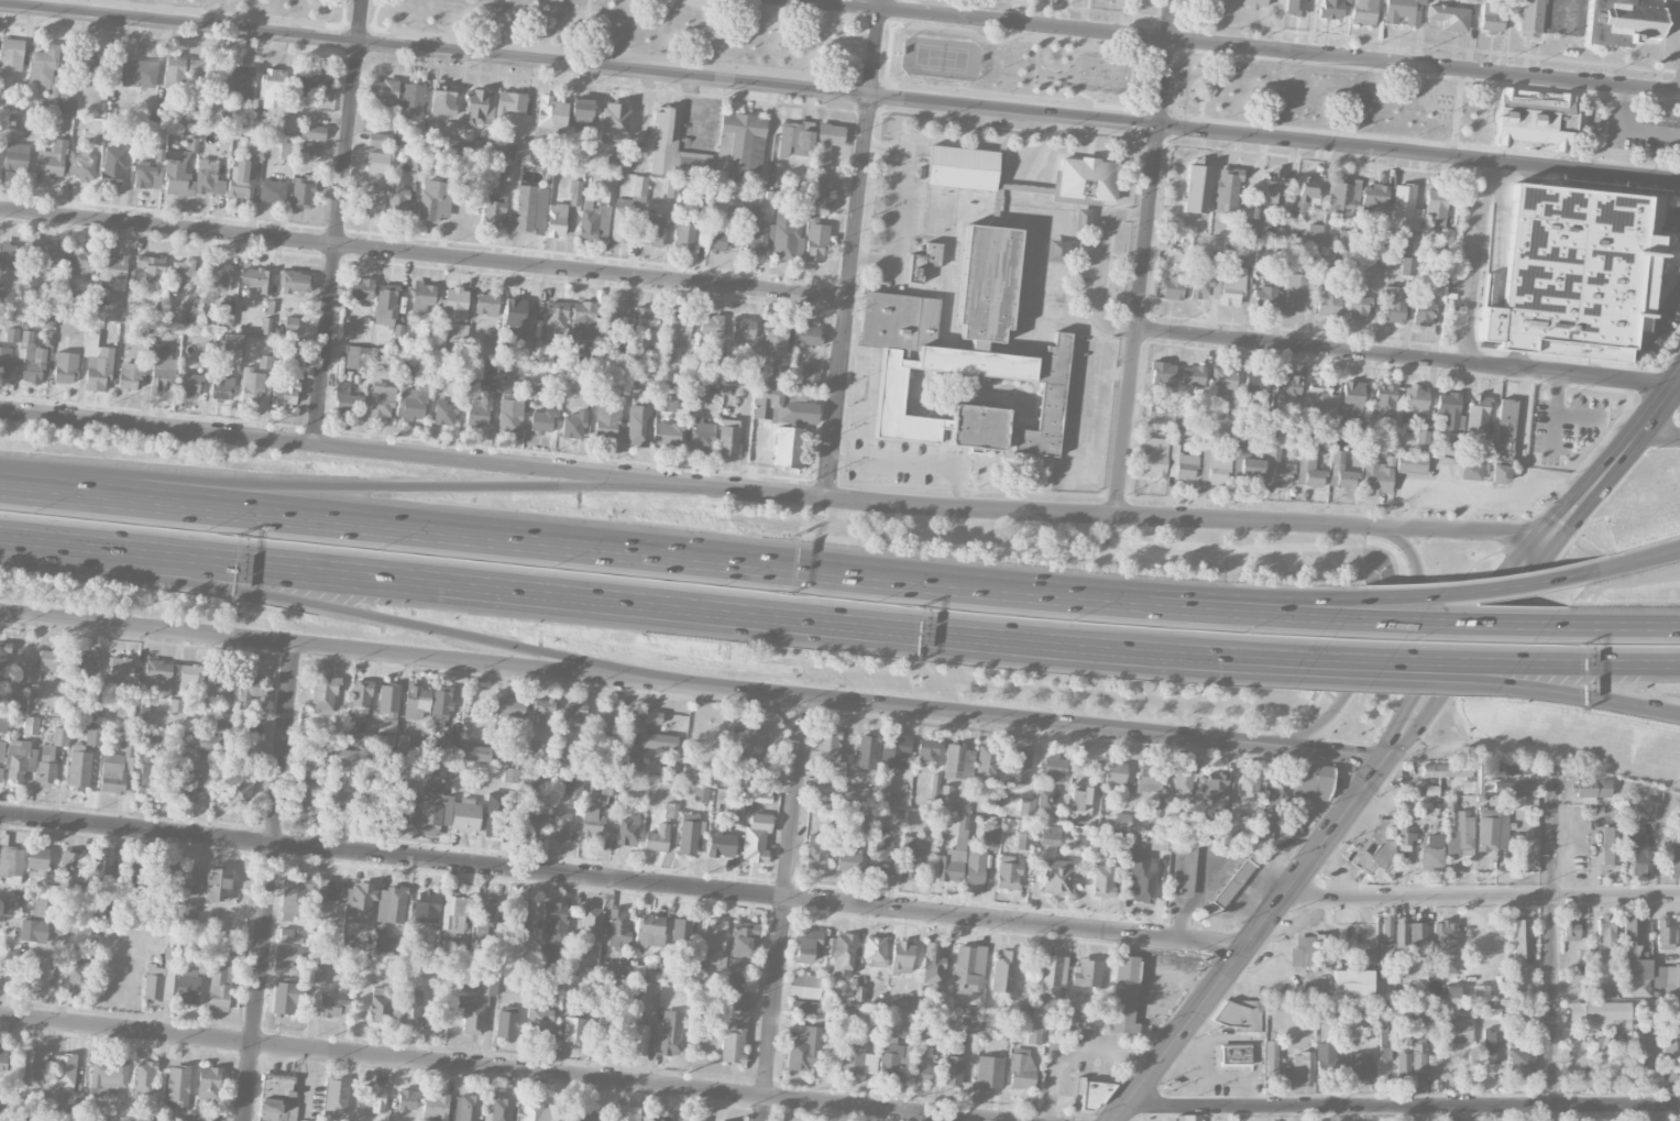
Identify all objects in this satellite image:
building: (1478, 0)
building: (1254, 3)
building: (1295, 8)
building: (1332, 8)
building: (1403, 11)
building: (1363, 12)
building: (1449, 17)
building: (1491, 18)
building: (1531, 18)
building: (1621, 22)
road: (1242, 46)
building: (11, 55)
park: (912, 57)
park: (941, 58)
building: (87, 67)
building: (44, 68)
building: (180, 69)
building: (139, 73)
park: (1102, 75)
building: (242, 80)
building: (314, 81)
building: (294, 86)
building: (272, 88)
building: (1204, 88)
building: (383, 91)
road: (839, 92)
building: (443, 99)
building: (411, 101)
building: (66, 102)
building: (509, 102)
building: (479, 107)
building: (550, 112)
building: (581, 113)
building: (1533, 119)
building: (14, 120)
building: (614, 120)
road: (1630, 129)
building: (312, 131)
building: (794, 139)
building: (377, 140)
building: (826, 143)
building: (448, 145)
building: (739, 146)
building: (672, 147)
building: (255, 149)
building: (287, 150)
building: (521, 150)
building: (15, 157)
building: (52, 160)
building: (376, 163)
building: (81, 165)
building: (112, 165)
building: (963, 167)
building: (177, 173)
building: (508, 173)
building: (144, 174)
building: (208, 177)
building: (1085, 179)
building: (241, 180)
building: (827, 186)
building: (1274, 186)
building: (639, 188)
building: (1197, 188)
building: (671, 189)
building: (272, 190)
building: (301, 191)
building: (1306, 191)
building: (1340, 195)
building: (1374, 196)
building: (396, 198)
building: (768, 199)
building: (371, 200)
building: (435, 200)
road: (898, 206)
building: (1436, 206)
building: (526, 208)
building: (1404, 208)
building: (496, 212)
building: (595, 218)
building: (688, 218)
building: (556, 220)
building: (622, 221)
road: (339, 222)
road: (1671, 222)
building: (1250, 227)
building: (654, 229)
building: (1315, 233)
building: (771, 234)
building: (1381, 235)
building: (684, 237)
building: (814, 238)
building: (718, 239)
building: (1409, 243)
road: (854, 249)
road: (424, 254)
building: (9, 255)
building: (47, 256)
road: (1144, 257)
building: (79, 261)
building: (923, 261)
building: (1278, 261)
road: (1476, 262)
building: (1407, 265)
building: (112, 266)
building: (151, 267)
building: (183, 271)
building: (1573, 272)
building: (1439, 276)
building: (218, 277)
building: (256, 278)
building: (294, 282)
building: (1200, 286)
building: (1232, 286)
building: (1172, 288)
building: (361, 289)
building: (1, 292)
building: (1296, 292)
building: (421, 297)
building: (1265, 298)
building: (1329, 298)
building: (1358, 300)
building: (386, 304)
building: (454, 304)
building: (486, 304)
building: (1393, 304)
building: (194, 308)
building: (1423, 311)
building: (583, 312)
building: (223, 315)
building: (615, 316)
road: (1660, 316)
building: (556, 317)
building: (646, 318)
building: (711, 325)
building: (290, 327)
building: (678, 328)
building: (743, 328)
building: (519, 329)
building: (398, 332)
building: (12, 334)
building: (775, 337)
building: (804, 337)
building: (233, 348)
building: (541, 348)
building: (294, 352)
building: (717, 355)
building: (355, 356)
road: (1405, 356)
building: (31, 359)
building: (96, 359)
building: (4, 361)
building: (965, 361)
building: (162, 366)
building: (65, 367)
building: (474, 367)
building: (812, 374)
building: (1161, 374)
building: (130, 375)
building: (1193, 376)
building: (406, 377)
building: (1223, 380)
building: (1256, 383)
building: (189, 384)
building: (220, 385)
building: (253, 385)
building: (503, 385)
building: (1286, 387)
building: (284, 391)
road: (870, 392)
building: (1084, 394)
building: (696, 396)
building: (347, 398)
building: (1320, 399)
building: (1416, 399)
building: (381, 400)
building: (1351, 400)
building: (410, 404)
building: (666, 404)
building: (1386, 405)
building: (780, 406)
building: (1155, 406)
building: (1449, 408)
building: (479, 409)
building: (446, 413)
building: (1478, 413)
building: (509, 415)
building: (606, 418)
building: (1261, 419)
building: (541, 421)
building: (573, 425)
building: (638, 426)
road: (1660, 429)
building: (1504, 430)
building: (1326, 432)
building: (666, 433)
building: (702, 436)
building: (728, 437)
building: (1423, 437)
building: (1241, 446)
building: (788, 447)
road: (351, 449)
building: (1078, 449)
building: (1153, 457)
road: (896, 461)
building: (1410, 463)
building: (1181, 464)
building: (1214, 466)
building: (1251, 466)
building: (1276, 468)
building: (1308, 469)
building: (1471, 471)
building: (1340, 472)
building: (1498, 473)
building: (1377, 476)
road: (1555, 482)
road: (385, 485)
road: (956, 492)
road: (1506, 493)
road: (1464, 514)
road: (1127, 516)
road: (17, 537)
road: (607, 548)
road: (1640, 557)
road: (1482, 583)
road: (569, 593)
road: (1288, 605)
road: (356, 613)
road: (1282, 614)
road: (1449, 622)
road: (1614, 625)
road: (340, 647)
road: (1381, 648)
road: (1211, 650)
road: (1207, 655)
road: (1420, 658)
building: (47, 660)
road: (1602, 660)
building: (3, 661)
building: (87, 662)
building: (120, 669)
building: (188, 673)
building: (157, 674)
road: (1403, 674)
building: (218, 685)
building: (250, 688)
building: (35, 690)
building: (325, 693)
building: (360, 696)
road: (1589, 696)
building: (388, 699)
building: (417, 700)
building: (441, 703)
building: (141, 705)
building: (512, 707)
building: (542, 711)
building: (573, 714)
building: (607, 716)
building: (355, 717)
road: (1034, 721)
building: (3, 722)
building: (31, 725)
building: (223, 727)
building: (637, 728)
building: (92, 734)
building: (61, 736)
building: (358, 739)
building: (201, 741)
building: (378, 741)
building: (402, 743)
building: (749, 746)
building: (532, 747)
building: (248, 748)
building: (827, 748)
building: (47, 749)
road: (1395, 749)
building: (2, 750)
building: (474, 752)
building: (894, 752)
building: (864, 755)
building: (925, 755)
building: (345, 756)
building: (311, 758)
building: (19, 759)
building: (629, 761)
building: (958, 761)
building: (986, 763)
building: (1019, 767)
building: (444, 768)
building: (1053, 768)
building: (79, 769)
building: (114, 769)
building: (1509, 769)
building: (1441, 770)
building: (1116, 771)
building: (1, 773)
building: (46, 773)
building: (1150, 777)
building: (186, 781)
building: (529, 781)
building: (1182, 782)
building: (823, 784)
building: (574, 785)
building: (881, 785)
building: (1249, 787)
building: (1511, 787)
building: (605, 788)
building: (1212, 788)
building: (1297, 788)
building: (1592, 788)
building: (239, 790)
building: (855, 793)
building: (946, 793)
building: (701, 794)
building: (758, 796)
building: (304, 798)
building: (1043, 798)
building: (995, 799)
building: (1079, 801)
building: (337, 802)
building: (405, 803)
building: (370, 804)
building: (962, 805)
building: (1026, 805)
building: (433, 809)
building: (495, 814)
building: (464, 815)
building: (1122, 821)
building: (534, 823)
building: (590, 824)
building: (559, 826)
building: (1266, 826)
building: (1492, 829)
building: (627, 831)
building: (1458, 831)
building: (688, 834)
building: (1050, 834)
building: (990, 835)
building: (756, 837)
building: (657, 838)
building: (1405, 839)
building: (1023, 840)
building: (959, 842)
building: (1157, 843)
building: (721, 845)
building: (1611, 846)
building: (1636, 848)
building: (816, 851)
building: (1431, 853)
building: (910, 857)
building: (879, 858)
building: (37, 859)
building: (848, 859)
building: (1377, 860)
building: (10, 862)
building: (1674, 862)
building: (103, 866)
building: (975, 866)
building: (1187, 870)
building: (70, 871)
building: (1008, 872)
building: (1056, 876)
building: (135, 877)
building: (166, 879)
road: (624, 880)
building: (1102, 880)
building: (1143, 880)
building: (1234, 880)
building: (189, 881)
road: (270, 881)
building: (218, 884)
building: (328, 890)
building: (295, 897)
road: (1484, 899)
building: (376, 903)
building: (428, 904)
building: (41, 908)
building: (9, 909)
road: (784, 909)
building: (515, 913)
building: (141, 917)
building: (483, 920)
building: (554, 920)
building: (591, 925)
building: (618, 928)
building: (33, 930)
building: (651, 930)
building: (1386, 930)
building: (1570, 931)
building: (1665, 932)
building: (80, 933)
building: (681, 934)
building: (1606, 934)
building: (289, 935)
building: (1401, 935)
building: (1630, 936)
building: (743, 938)
building: (1417, 939)
building: (386, 942)
building: (1446, 942)
building: (1520, 943)
building: (806, 944)
building: (712, 945)
road: (1552, 947)
building: (1300, 949)
building: (202, 950)
building: (875, 950)
building: (1321, 950)
building: (841, 954)
building: (1386, 954)
building: (901, 958)
building: (288, 959)
building: (1308, 960)
building: (734, 964)
building: (932, 964)
building: (607, 968)
building: (969, 968)
building: (1003, 971)
building: (40, 972)
building: (1086, 972)
building: (316, 974)
building: (645, 975)
building: (1052, 976)
building: (77, 977)
building: (1634, 978)
building: (1667, 978)
building: (158, 980)
building: (734, 982)
building: (1352, 982)
building: (188, 983)
building: (487, 985)
building: (811, 987)
building: (219, 988)
building: (1451, 991)
building: (1124, 994)
building: (285, 998)
building: (910, 1000)
building: (740, 1002)
building: (380, 1004)
building: (331, 1007)
building: (804, 1007)
building: (410, 1008)
building: (1493, 1011)
building: (472, 1013)
building: (1039, 1013)
building: (1599, 1013)
building: (1240, 1014)
building: (506, 1021)
building: (539, 1024)
building: (969, 1025)
building: (1458, 1030)
building: (575, 1031)
building: (669, 1032)
building: (637, 1034)
building: (1033, 1035)
building: (605, 1036)
building: (733, 1043)
building: (1385, 1045)
building: (1492, 1045)
building: (804, 1049)
road: (1074, 1049)
building: (1271, 1049)
building: (1643, 1052)
building: (1234, 1055)
building: (1672, 1056)
building: (889, 1058)
building: (1409, 1058)
building: (857, 1060)
building: (953, 1060)
building: (1328, 1060)
building: (1520, 1062)
building: (2, 1064)
building: (1303, 1066)
building: (1361, 1066)
building: (1434, 1067)
building: (31, 1068)
road: (494, 1068)
building: (1021, 1068)
building: (989, 1071)
building: (108, 1075)
building: (921, 1075)
building: (1652, 1077)
building: (144, 1078)
building: (66, 1079)
building: (177, 1086)
building: (209, 1086)
building: (1092, 1093)
building: (336, 1098)
building: (371, 1098)
building: (276, 1099)
building: (407, 1100)
road: (1405, 1107)
building: (435, 1108)
building: (465, 1108)
building: (497, 1110)
building: (536, 1111)
building: (583, 1114)
building: (625, 1115)
building: (569, 1118)
building: (1187, 1118)
building: (657, 1119)
building: (691, 1119)
building: (184, 1120)

